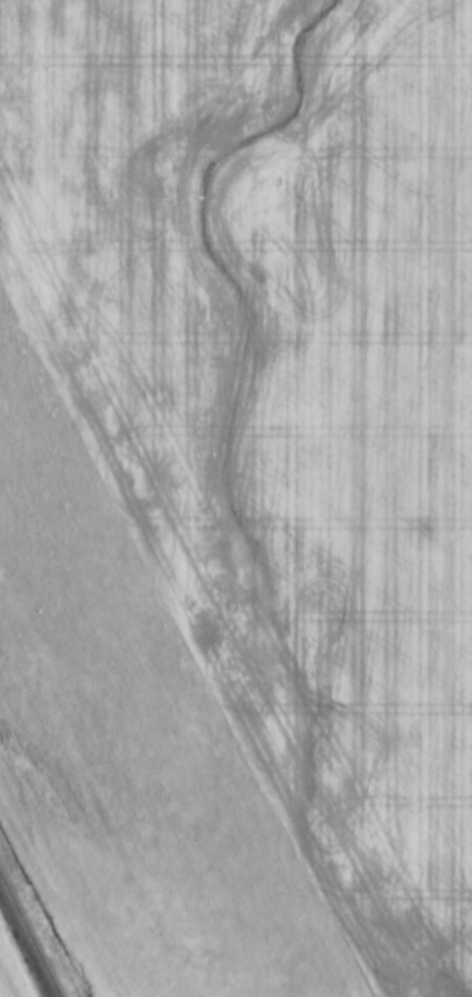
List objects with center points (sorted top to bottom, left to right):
railway: (27, 941)

